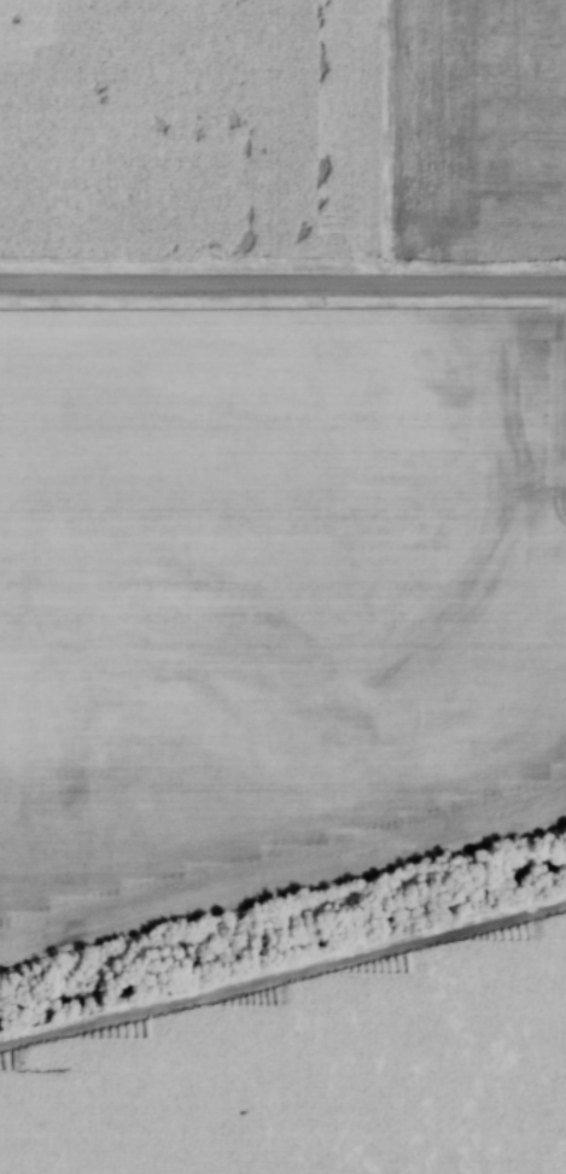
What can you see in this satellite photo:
road: (282, 292)

